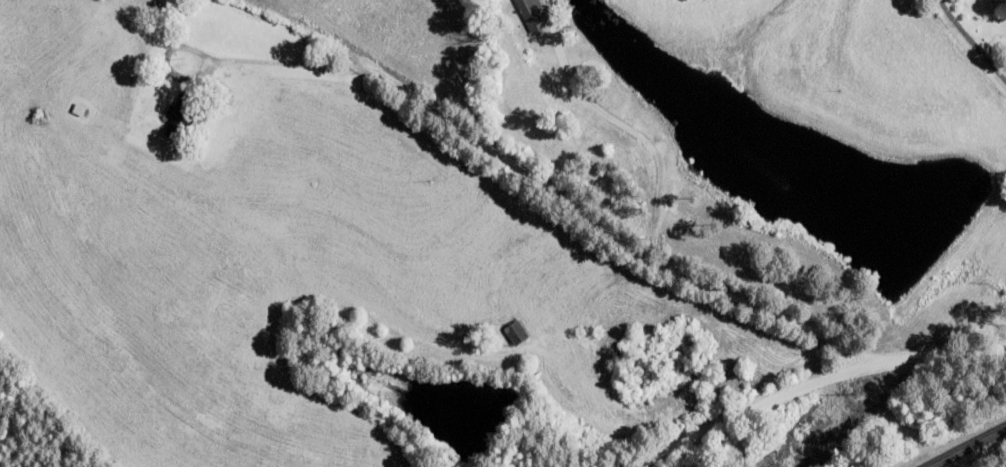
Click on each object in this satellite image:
building: (530, 15)
road: (971, 41)
building: (76, 109)
road: (544, 185)
building: (513, 332)
road: (806, 383)
road: (965, 445)

